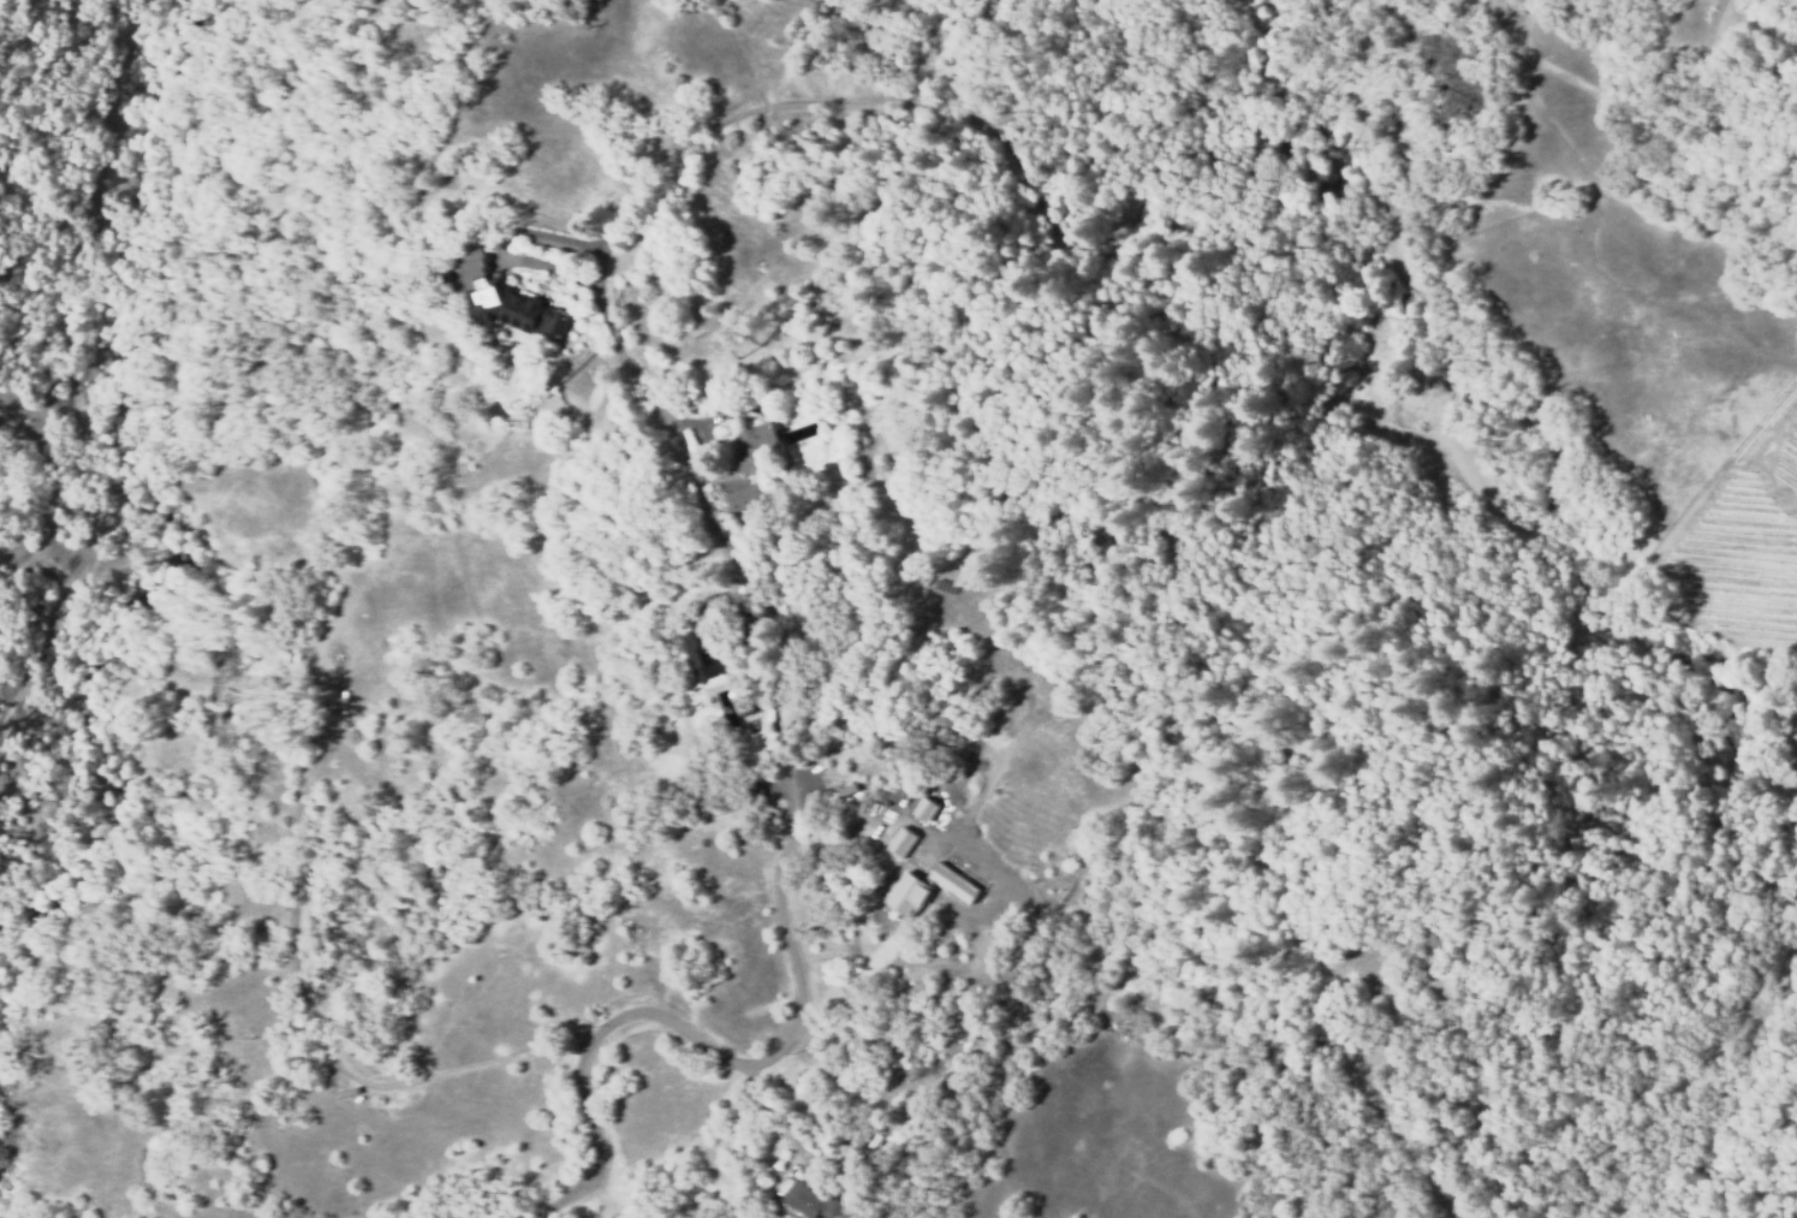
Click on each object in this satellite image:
building: (1260, 150)
building: (446, 277)
building: (520, 309)
road: (613, 345)
building: (756, 447)
road: (1486, 495)
building: (743, 497)
building: (708, 607)
building: (702, 652)
building: (716, 658)
building: (751, 783)
building: (940, 790)
building: (920, 808)
building: (894, 897)
building: (814, 1201)

